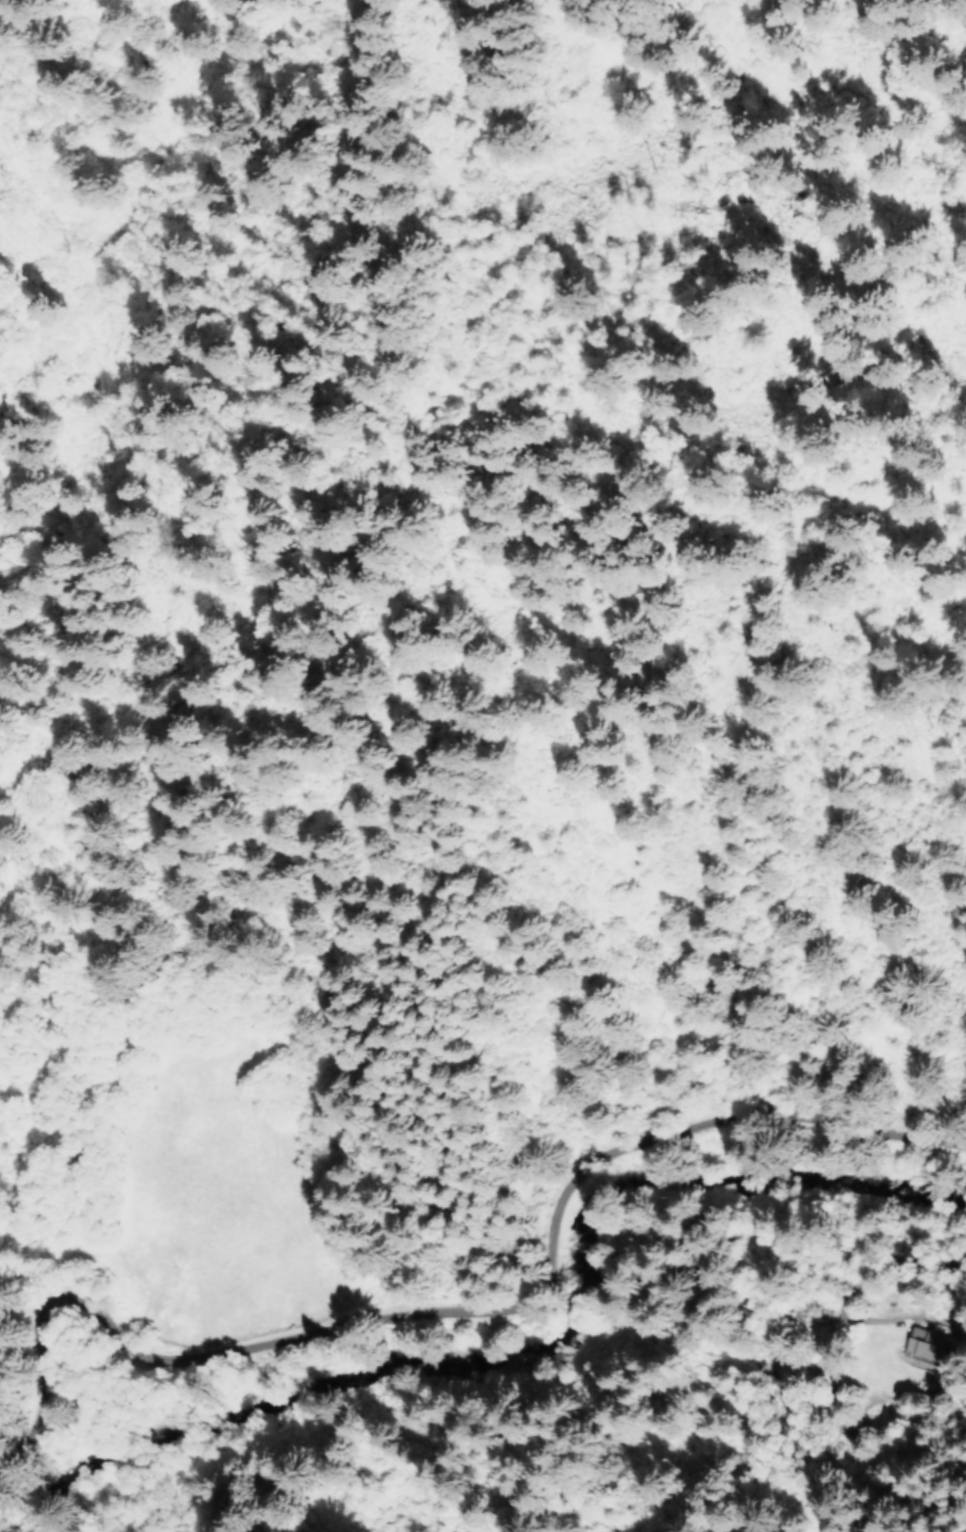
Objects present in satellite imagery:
road: (468, 1303)
building: (919, 1343)

